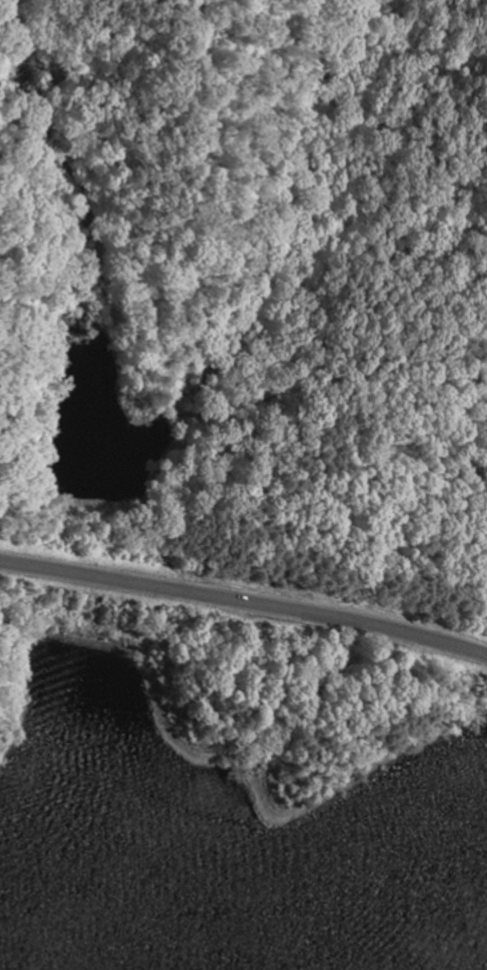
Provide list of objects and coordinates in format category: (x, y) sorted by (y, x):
road: (245, 600)
road: (10, 675)

